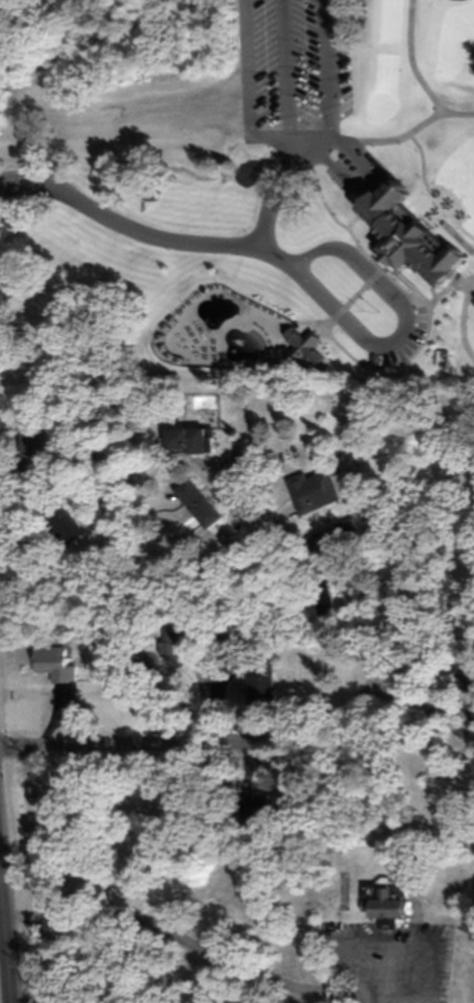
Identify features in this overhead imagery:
park: (449, 33)
road: (380, 45)
road: (414, 65)
parking lot: (307, 70)
road: (330, 70)
parking lot: (292, 76)
road: (289, 78)
road: (251, 90)
building: (128, 97)
building: (471, 141)
road: (40, 173)
road: (364, 178)
road: (40, 184)
building: (466, 219)
park: (277, 224)
parking lot: (426, 243)
road: (447, 255)
park: (166, 331)
park: (201, 333)
park: (300, 333)
park: (333, 335)
building: (185, 439)
building: (29, 450)
building: (310, 489)
road: (224, 501)
building: (196, 502)
building: (60, 520)
building: (345, 527)
road: (24, 592)
building: (100, 651)
building: (51, 661)
building: (259, 682)
road: (198, 745)
building: (252, 810)
building: (385, 902)
road: (191, 938)
road: (9, 949)

